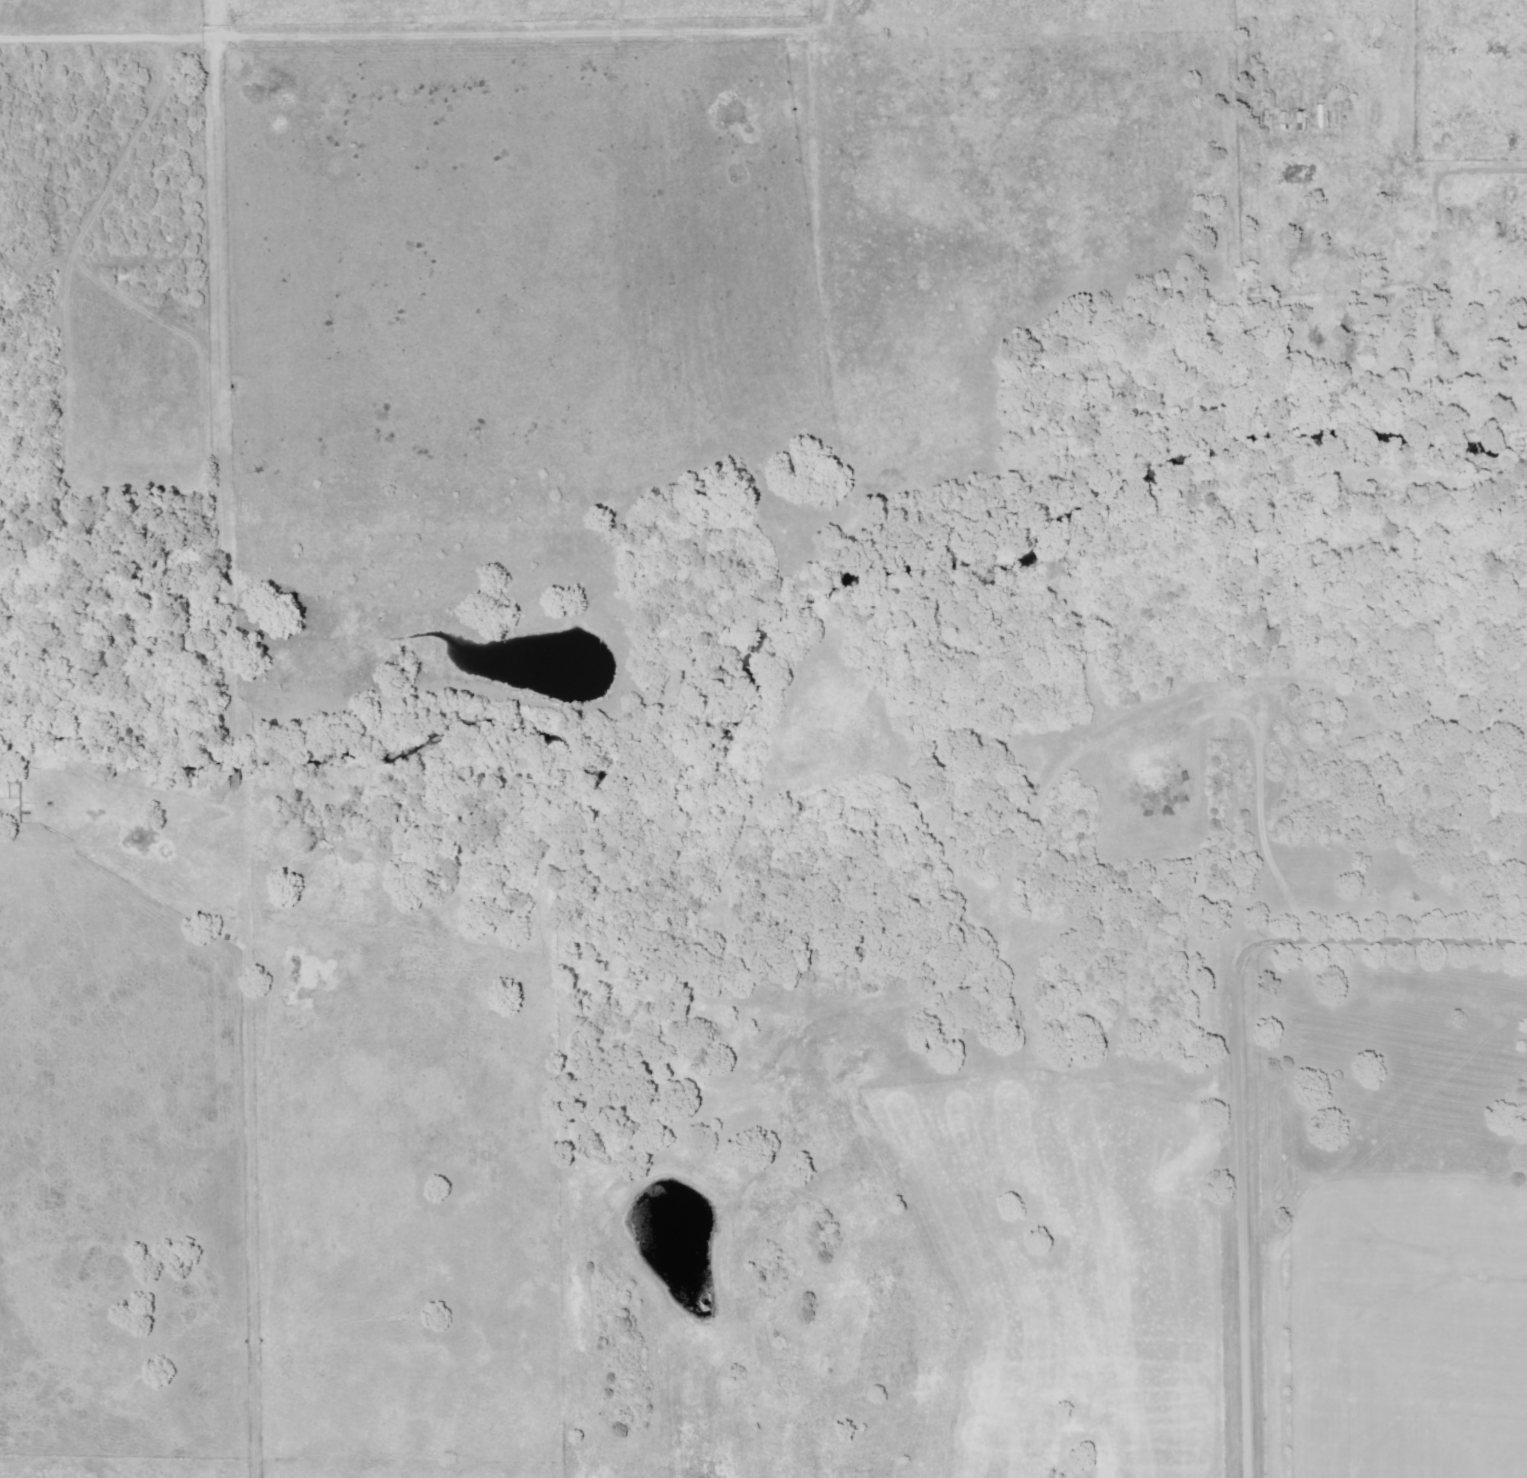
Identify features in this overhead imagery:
road: (1456, 166)
road: (1234, 1072)

